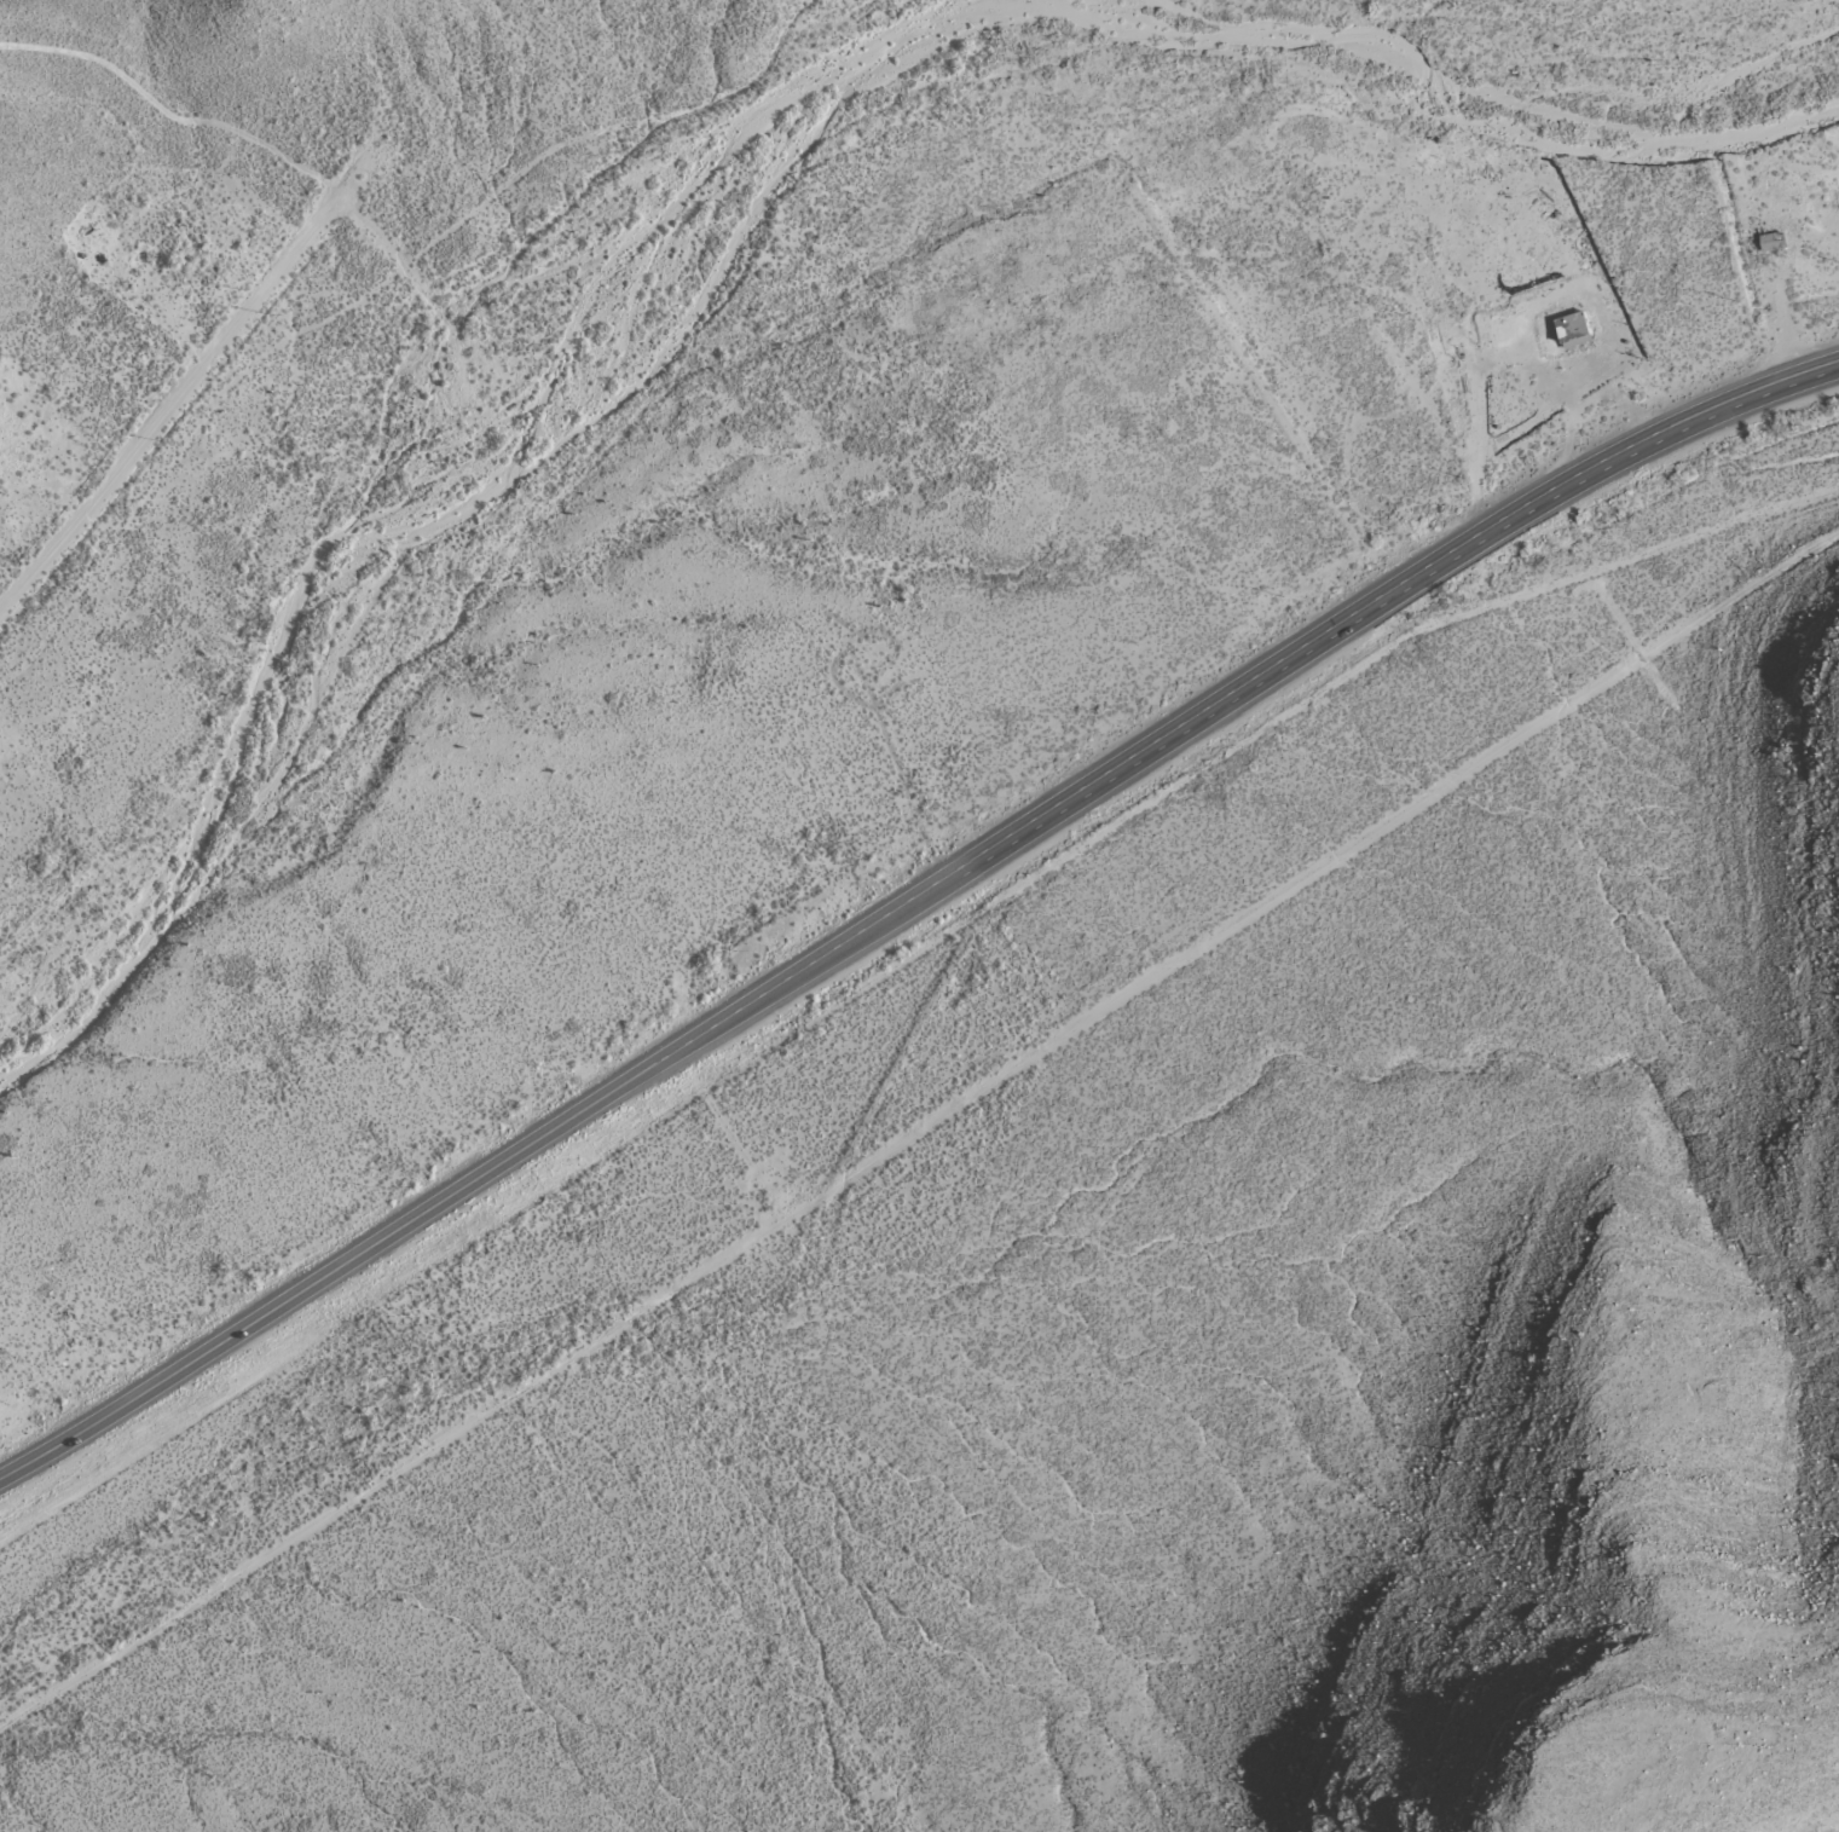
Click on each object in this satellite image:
road: (369, 177)
building: (1766, 243)
road: (435, 283)
building: (1567, 331)
road: (179, 409)
road: (1370, 600)
road: (919, 1129)
road: (462, 1181)

